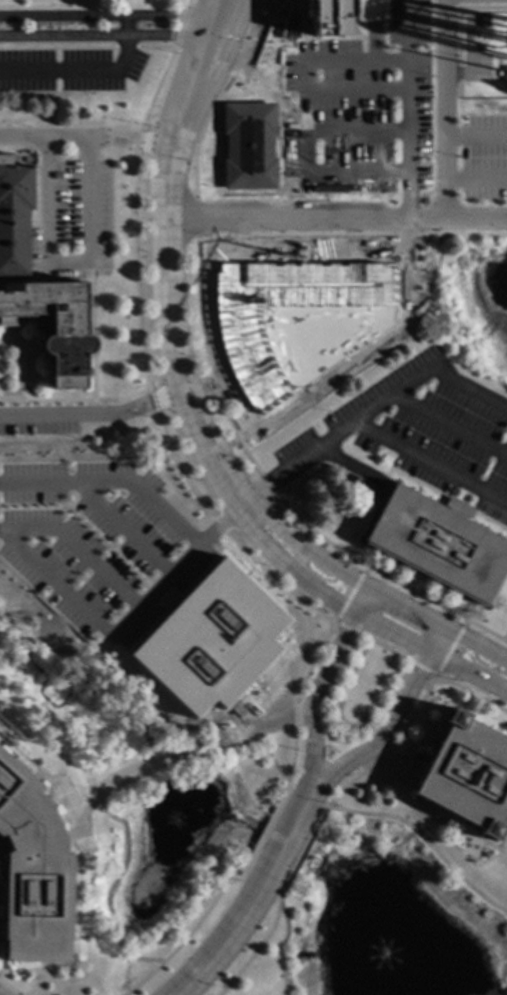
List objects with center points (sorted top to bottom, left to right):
road: (187, 4)
building: (371, 11)
road: (104, 17)
building: (316, 19)
building: (483, 23)
road: (124, 26)
road: (180, 26)
road: (373, 30)
road: (62, 36)
road: (166, 36)
road: (204, 36)
road: (86, 47)
road: (322, 61)
road: (76, 72)
building: (503, 75)
road: (443, 100)
road: (84, 138)
road: (407, 140)
building: (249, 146)
road: (444, 179)
parking lot: (74, 220)
road: (335, 221)
road: (68, 261)
building: (39, 283)
road: (165, 294)
road: (8, 326)
road: (89, 329)
flagpole: (26, 383)
road: (74, 402)
road: (370, 411)
road: (91, 414)
road: (449, 425)
parking lot: (38, 426)
road: (171, 451)
road: (431, 462)
road: (138, 489)
building: (439, 542)
road: (302, 550)
road: (198, 577)
street lamp: (45, 591)
road: (320, 593)
road: (344, 608)
road: (100, 627)
road: (439, 628)
building: (211, 641)
road: (436, 641)
road: (384, 648)
road: (443, 665)
road: (468, 672)
road: (322, 682)
road: (146, 698)
road: (385, 731)
road: (395, 748)
road: (187, 753)
street lamp: (298, 753)
road: (27, 764)
building: (467, 776)
street lamp: (323, 803)
flagpole: (266, 817)
road: (72, 819)
fountain: (174, 827)
road: (263, 831)
flagpole: (313, 841)
road: (425, 841)
flagpole: (252, 847)
road: (301, 852)
flagpole: (296, 872)
building: (32, 873)
street lamp: (238, 884)
road: (111, 888)
road: (252, 894)
road: (186, 936)
road: (282, 945)
road: (256, 949)
fountain: (381, 952)
road: (36, 981)
road: (7, 989)

